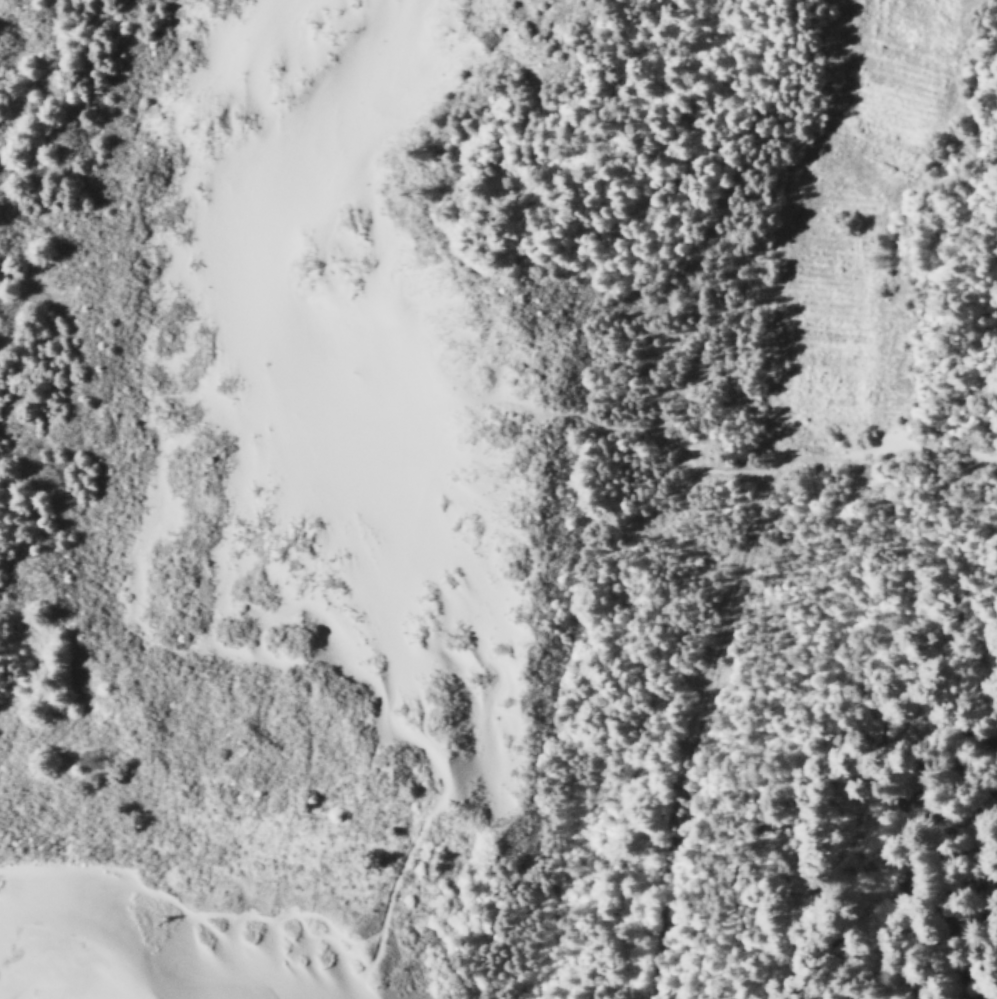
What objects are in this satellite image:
road: (929, 863)

